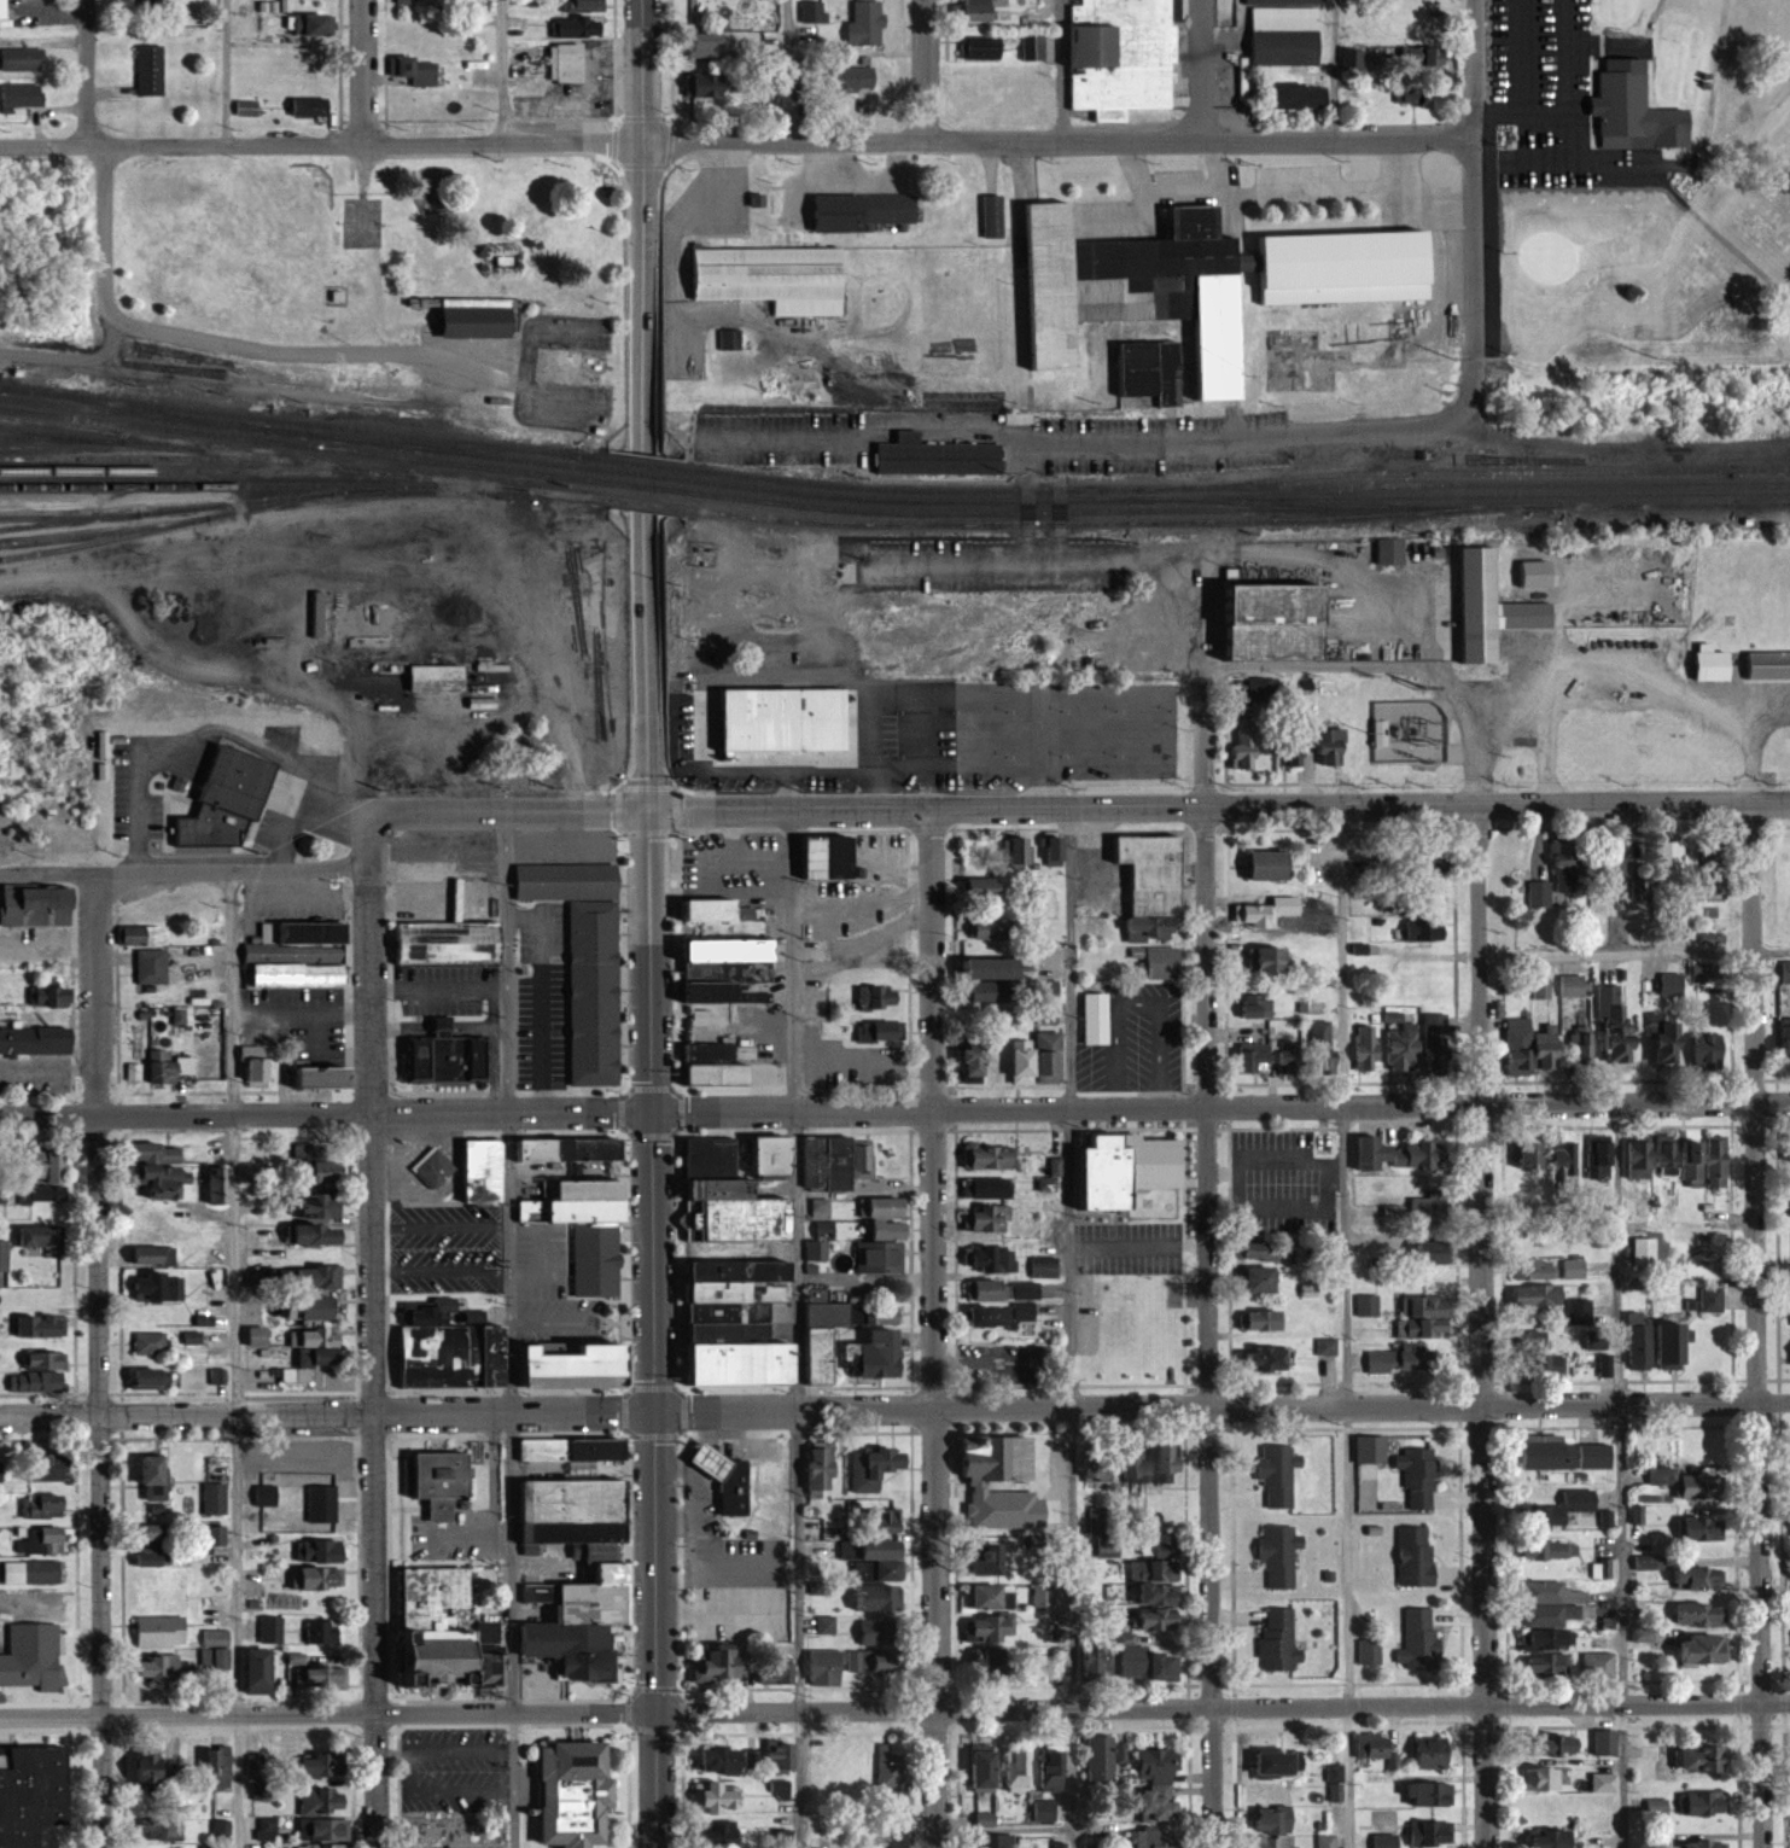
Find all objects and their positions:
building: (415, 1)
building: (150, 5)
building: (582, 6)
road: (1657, 6)
building: (981, 10)
building: (867, 16)
building: (316, 25)
building: (581, 27)
building: (1284, 31)
building: (706, 45)
building: (980, 47)
building: (1124, 56)
building: (1423, 57)
building: (22, 59)
building: (570, 63)
building: (150, 69)
road: (1060, 69)
road: (1201, 69)
road: (1475, 69)
road: (926, 70)
road: (501, 71)
road: (785, 71)
road: (88, 72)
road: (222, 72)
road: (369, 72)
building: (421, 74)
building: (856, 78)
building: (710, 84)
road: (1715, 84)
building: (22, 95)
building: (1300, 95)
building: (1410, 95)
parking lot: (1555, 97)
building: (310, 106)
building: (246, 107)
building: (1638, 109)
road: (1558, 117)
road: (1756, 118)
road: (1062, 140)
road: (323, 145)
road: (1212, 165)
road: (1747, 165)
road: (1244, 191)
road: (1410, 198)
building: (862, 210)
building: (993, 216)
road: (1726, 235)
road: (1475, 258)
building: (1347, 268)
building: (774, 279)
building: (1138, 290)
building: (478, 319)
road: (575, 325)
road: (243, 349)
road: (529, 352)
building: (1151, 372)
railway: (1, 385)
building: (876, 386)
road: (565, 406)
railway: (135, 408)
railway: (133, 413)
railway: (288, 420)
road: (932, 421)
road: (1387, 429)
railway: (287, 433)
railway: (62, 436)
parking lot: (774, 438)
road: (783, 438)
parking lot: (1151, 443)
road: (1144, 444)
railway: (441, 445)
railway: (101, 447)
railway: (301, 447)
road: (1613, 450)
railway: (455, 454)
railway: (588, 456)
railway: (148, 459)
building: (937, 460)
railway: (301, 462)
railway: (643, 462)
railway: (205, 473)
railway: (1485, 473)
railway: (643, 477)
road: (972, 479)
railway: (1485, 484)
railway: (262, 485)
railway: (645, 490)
railway: (932, 491)
railway: (1485, 496)
railway: (1156, 500)
railway: (908, 501)
railway: (645, 505)
railway: (217, 506)
railway: (1260, 506)
railway: (1765, 506)
railway: (1765, 507)
railway: (1564, 508)
railway: (1285, 512)
railway: (934, 513)
railway: (70, 517)
road: (506, 520)
railway: (1123, 523)
railway: (167, 524)
building: (575, 537)
railway: (105, 541)
road: (200, 547)
road: (646, 554)
road: (993, 561)
parking lot: (991, 564)
road: (1180, 583)
building: (317, 601)
building: (1492, 607)
building: (1279, 622)
building: (1713, 665)
building: (1768, 665)
road: (209, 671)
building: (438, 678)
building: (1383, 739)
building: (1246, 742)
building: (1331, 746)
road: (281, 756)
road: (141, 793)
building: (228, 801)
road: (1219, 808)
traffic signals: (649, 809)
road: (489, 810)
road: (296, 839)
building: (1021, 850)
building: (1056, 850)
building: (827, 857)
road: (141, 858)
building: (748, 858)
building: (1616, 862)
building: (1671, 862)
road: (1207, 864)
building: (1271, 865)
building: (1567, 868)
road: (183, 873)
building: (1154, 885)
building: (985, 888)
building: (1539, 893)
road: (1479, 899)
building: (37, 905)
building: (712, 910)
building: (1257, 915)
building: (989, 928)
building: (1424, 931)
building: (144, 935)
building: (449, 940)
road: (1750, 950)
road: (1634, 954)
building: (301, 956)
road: (931, 958)
building: (585, 961)
building: (1267, 961)
building: (1164, 962)
building: (151, 967)
building: (727, 968)
building: (996, 969)
building: (1785, 970)
building: (1671, 983)
road: (438, 984)
building: (1572, 985)
road: (369, 987)
building: (1540, 989)
building: (1048, 990)
building: (990, 992)
road: (97, 993)
building: (51, 995)
building: (879, 998)
building: (1257, 1005)
road: (301, 1009)
building: (1048, 1015)
building: (1096, 1018)
building: (1616, 1026)
building: (880, 1032)
building: (35, 1040)
building: (1785, 1040)
building: (1667, 1042)
building: (1436, 1043)
building: (1517, 1045)
building: (1323, 1047)
building: (1401, 1047)
building: (1709, 1047)
building: (1366, 1048)
building: (1547, 1048)
building: (1581, 1048)
building: (450, 1057)
building: (1266, 1057)
building: (978, 1059)
building: (1038, 1059)
road: (48, 1065)
building: (169, 1066)
building: (257, 1066)
building: (716, 1066)
building: (326, 1078)
road: (1220, 1104)
road: (1345, 1106)
traffic signals: (652, 1110)
road: (326, 1114)
building: (570, 1148)
building: (159, 1150)
building: (1392, 1155)
building: (1533, 1155)
building: (1667, 1156)
building: (989, 1158)
building: (1600, 1158)
building: (1565, 1159)
building: (321, 1160)
building: (1719, 1161)
building: (836, 1162)
building: (51, 1165)
building: (435, 1168)
building: (1131, 1168)
building: (485, 1170)
building: (255, 1177)
building: (1050, 1178)
building: (167, 1179)
building: (216, 1183)
building: (987, 1187)
building: (737, 1189)
building: (39, 1193)
building: (323, 1203)
building: (884, 1206)
building: (820, 1207)
building: (1424, 1207)
building: (990, 1218)
building: (589, 1228)
building: (885, 1228)
building: (316, 1232)
building: (153, 1234)
building: (42, 1235)
building: (480, 1240)
building: (432, 1248)
building: (816, 1249)
building: (1264, 1249)
building: (1645, 1251)
building: (1435, 1252)
building: (4, 1254)
building: (153, 1254)
building: (880, 1255)
building: (992, 1257)
building: (1045, 1266)
building: (1537, 1269)
building: (1574, 1269)
building: (319, 1275)
building: (435, 1275)
building: (1264, 1278)
building: (158, 1287)
building: (1004, 1289)
building: (45, 1294)
building: (1539, 1295)
building: (1713, 1299)
building: (1369, 1305)
building: (313, 1306)
building: (1427, 1306)
building: (1582, 1312)
building: (885, 1314)
building: (1003, 1314)
building: (0, 1319)
building: (1265, 1319)
building: (742, 1322)
building: (42, 1324)
road: (797, 1328)
road: (1069, 1328)
building: (1429, 1328)
road: (508, 1329)
building: (824, 1334)
building: (258, 1335)
building: (1642, 1341)
building: (151, 1342)
building: (1598, 1343)
building: (1673, 1343)
building: (1328, 1346)
building: (453, 1348)
building: (313, 1352)
building: (876, 1354)
building: (47, 1358)
building: (1269, 1358)
building: (1541, 1358)
road: (233, 1359)
building: (1404, 1359)
building: (582, 1365)
building: (152, 1377)
building: (42, 1381)
road: (1224, 1406)
traffic signals: (659, 1411)
road: (330, 1413)
building: (1372, 1448)
building: (1567, 1455)
building: (997, 1457)
building: (1171, 1461)
building: (309, 1462)
building: (1138, 1462)
building: (1098, 1464)
building: (822, 1465)
building: (876, 1467)
building: (51, 1468)
building: (1, 1471)
building: (1279, 1473)
road: (1486, 1475)
road: (1620, 1475)
road: (1756, 1475)
building: (156, 1476)
road: (1208, 1476)
building: (1419, 1476)
road: (933, 1477)
road: (658, 1479)
building: (727, 1479)
road: (372, 1481)
building: (443, 1481)
road: (101, 1482)
building: (1689, 1482)
building: (215, 1498)
building: (267, 1498)
building: (1567, 1505)
building: (43, 1506)
building: (321, 1517)
building: (884, 1520)
building: (1701, 1527)
building: (1106, 1532)
building: (154, 1534)
building: (216, 1535)
building: (42, 1540)
building: (1550, 1547)
building: (1161, 1550)
building: (321, 1551)
building: (1279, 1555)
building: (1417, 1555)
building: (152, 1556)
building: (885, 1556)
building: (990, 1556)
building: (1648, 1562)
building: (607, 1563)
building: (863, 1570)
building: (1155, 1570)
building: (43, 1572)
building: (317, 1578)
building: (1698, 1578)
building: (1161, 1593)
building: (992, 1596)
building: (53, 1598)
building: (879, 1598)
building: (1702, 1614)
building: (1545, 1616)
building: (1161, 1621)
road: (1346, 1627)
building: (996, 1628)
building: (270, 1630)
building: (162, 1631)
building: (449, 1631)
building: (322, 1632)
building: (881, 1633)
building: (1278, 1638)
building: (1422, 1643)
building: (216, 1649)
building: (1703, 1649)
building: (995, 1661)
building: (875, 1662)
building: (719, 1663)
building: (1100, 1663)
building: (1150, 1663)
building: (1547, 1665)
building: (1598, 1666)
building: (827, 1667)
building: (161, 1668)
building: (31, 1671)
building: (261, 1671)
building: (779, 1671)
building: (317, 1674)
road: (1223, 1704)
traffic signals: (657, 1712)
road: (327, 1714)
building: (1605, 1742)
building: (1557, 1743)
building: (1374, 1745)
road: (465, 1749)
road: (395, 1750)
building: (1433, 1751)
building: (1652, 1753)
building: (779, 1755)
building: (1104, 1757)
building: (723, 1759)
building: (1701, 1759)
building: (1277, 1764)
building: (323, 1765)
building: (1159, 1765)
building: (892, 1766)
building: (218, 1767)
building: (152, 1768)
road: (404, 1771)
building: (987, 1771)
building: (1019, 1771)
building: (1054, 1771)
building: (578, 1777)
building: (1544, 1778)
building: (1603, 1783)
building: (262, 1791)
road: (460, 1792)
building: (33, 1794)
building: (1430, 1794)
building: (722, 1799)
building: (325, 1801)
building: (1160, 1802)
building: (1702, 1803)
building: (1655, 1807)
building: (1044, 1811)
building: (987, 1821)
building: (436, 1826)
building: (158, 1829)
building: (222, 1829)
building: (1275, 1829)
building: (267, 1830)
building: (325, 1830)
road: (1004, 1830)
building: (1430, 1832)
building: (722, 1835)
building: (1551, 1838)
building: (1327, 1841)
building: (1384, 1841)
building: (1702, 1842)
building: (323, 1847)

